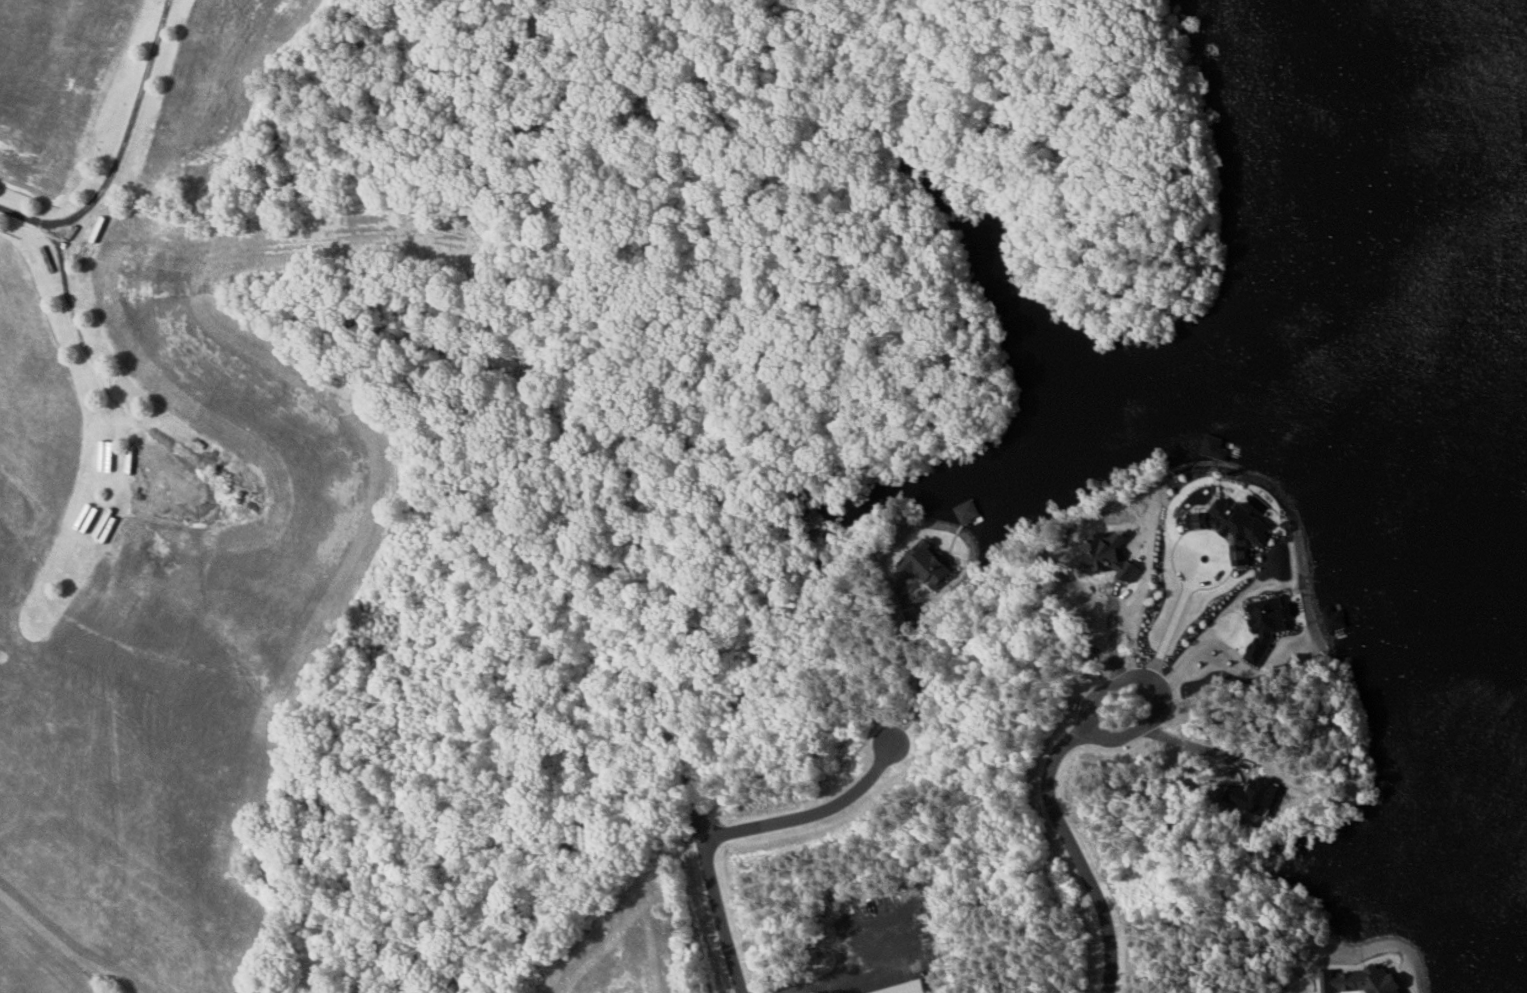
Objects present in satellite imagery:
road: (68, 291)
building: (1215, 446)
building: (1257, 505)
building: (967, 512)
building: (1231, 526)
building: (1269, 617)
road: (1158, 689)
road: (810, 814)
road: (1075, 852)
road: (716, 903)

